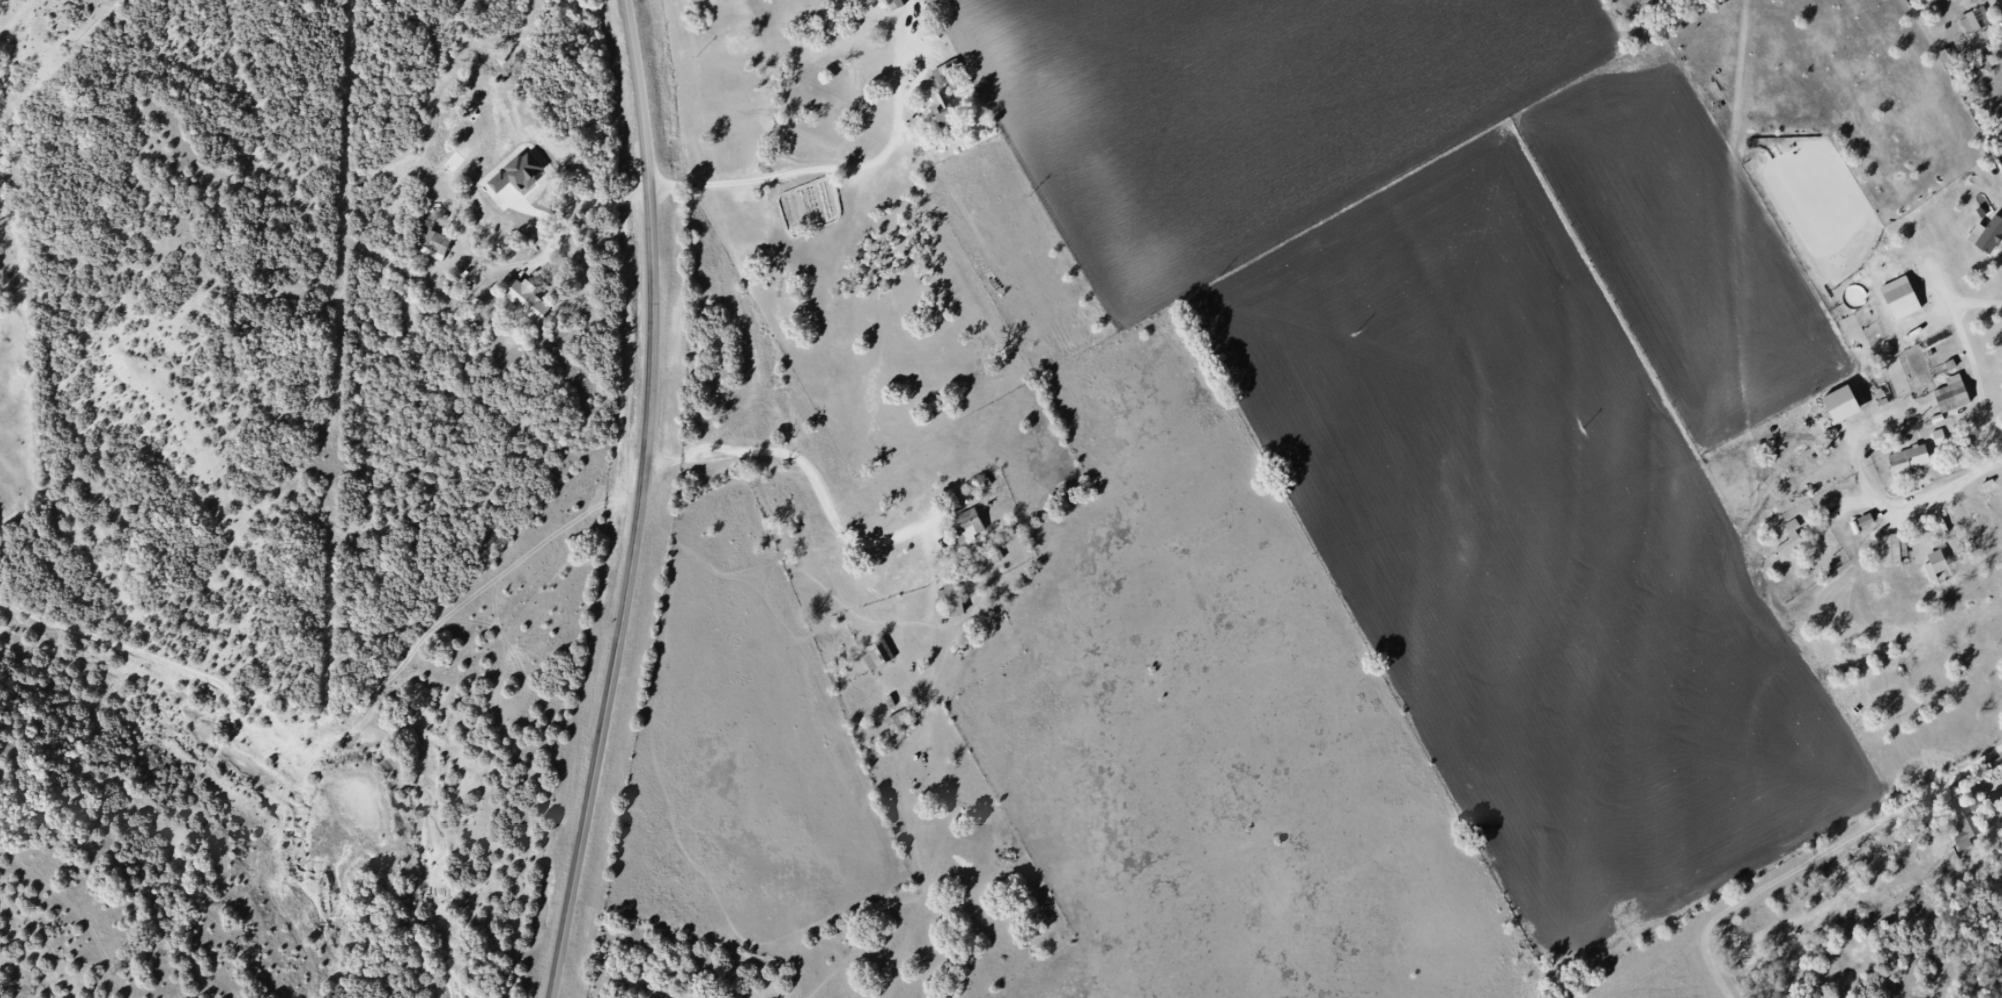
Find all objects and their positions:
building: (1976, 21)
building: (943, 75)
building: (942, 110)
building: (436, 243)
building: (527, 303)
building: (1951, 393)
building: (1841, 405)
building: (1939, 437)
building: (1909, 460)
road: (645, 501)
building: (970, 525)
building: (1790, 543)
building: (1894, 550)
building: (953, 598)
building: (878, 655)
building: (1968, 818)
building: (1743, 950)

